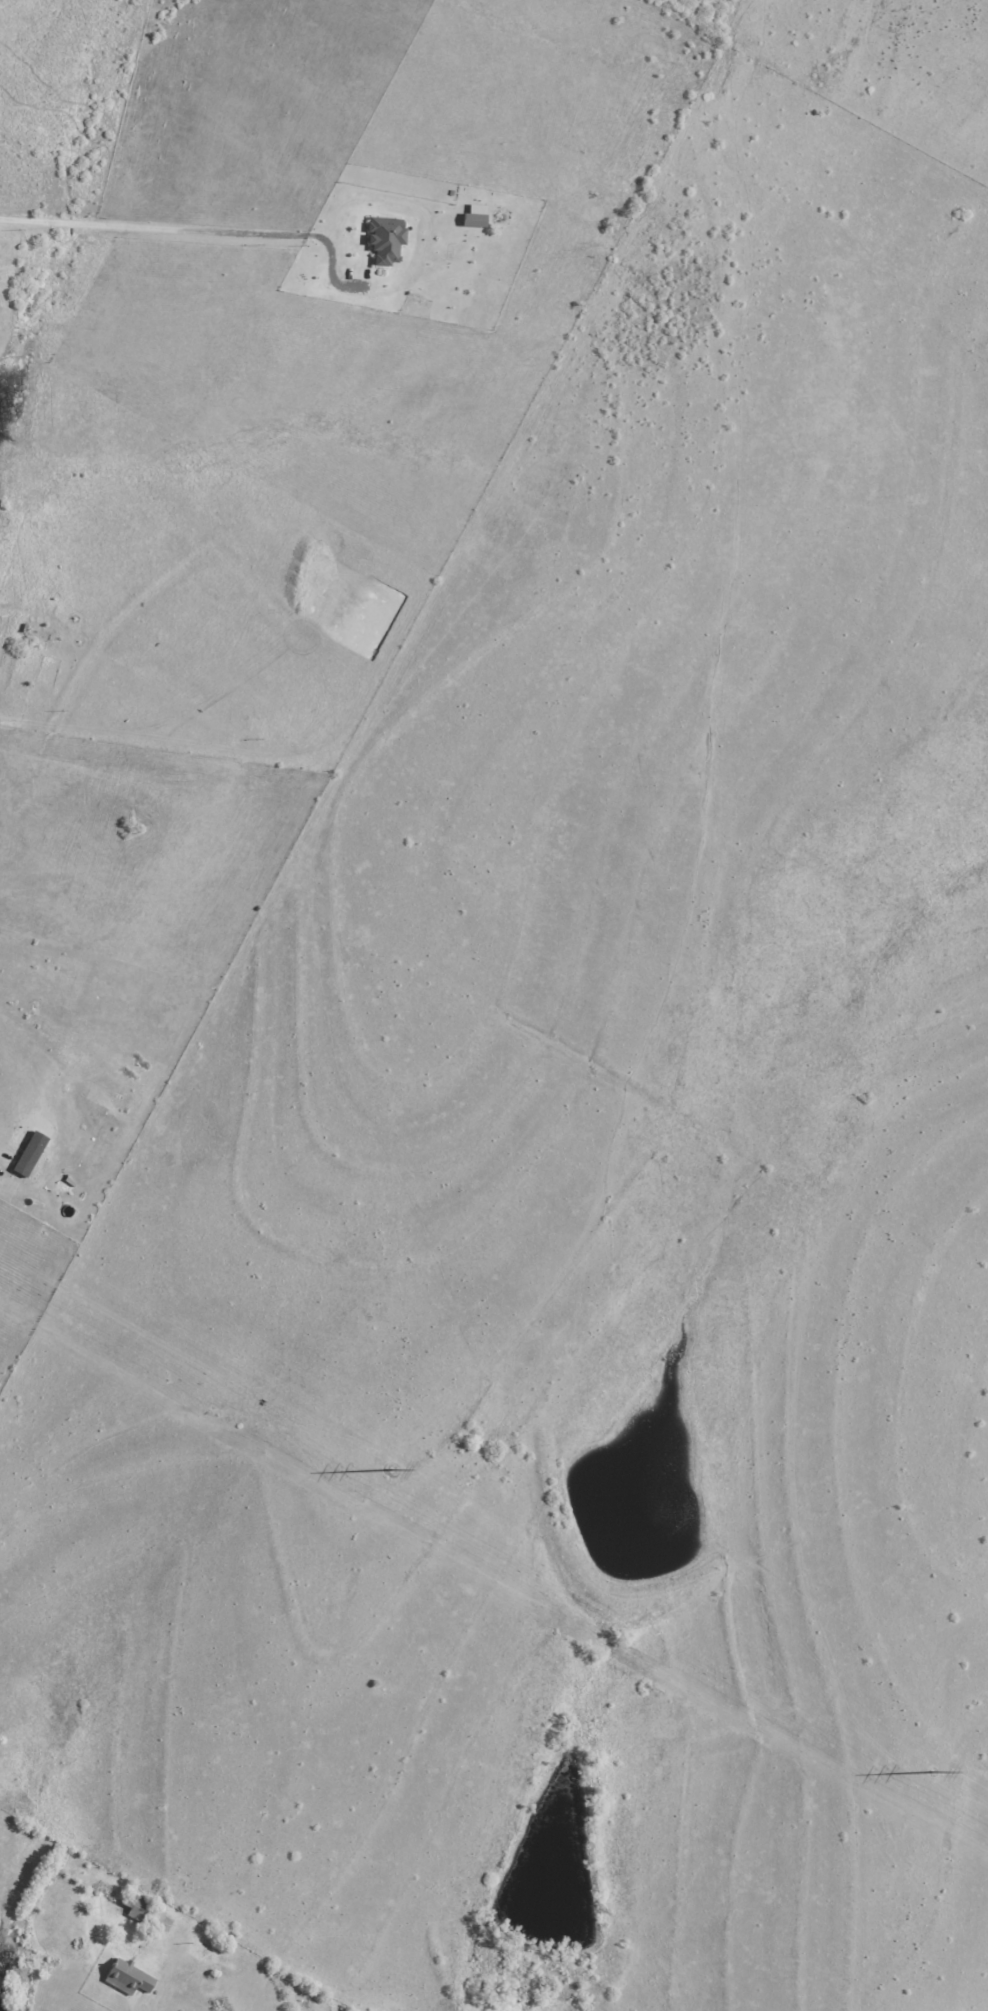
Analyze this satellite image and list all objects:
building: (474, 216)
road: (190, 228)
building: (384, 241)
building: (40, 633)
building: (28, 1153)
power tower: (391, 1471)
power tower: (934, 1773)
building: (141, 1908)
building: (130, 1977)

